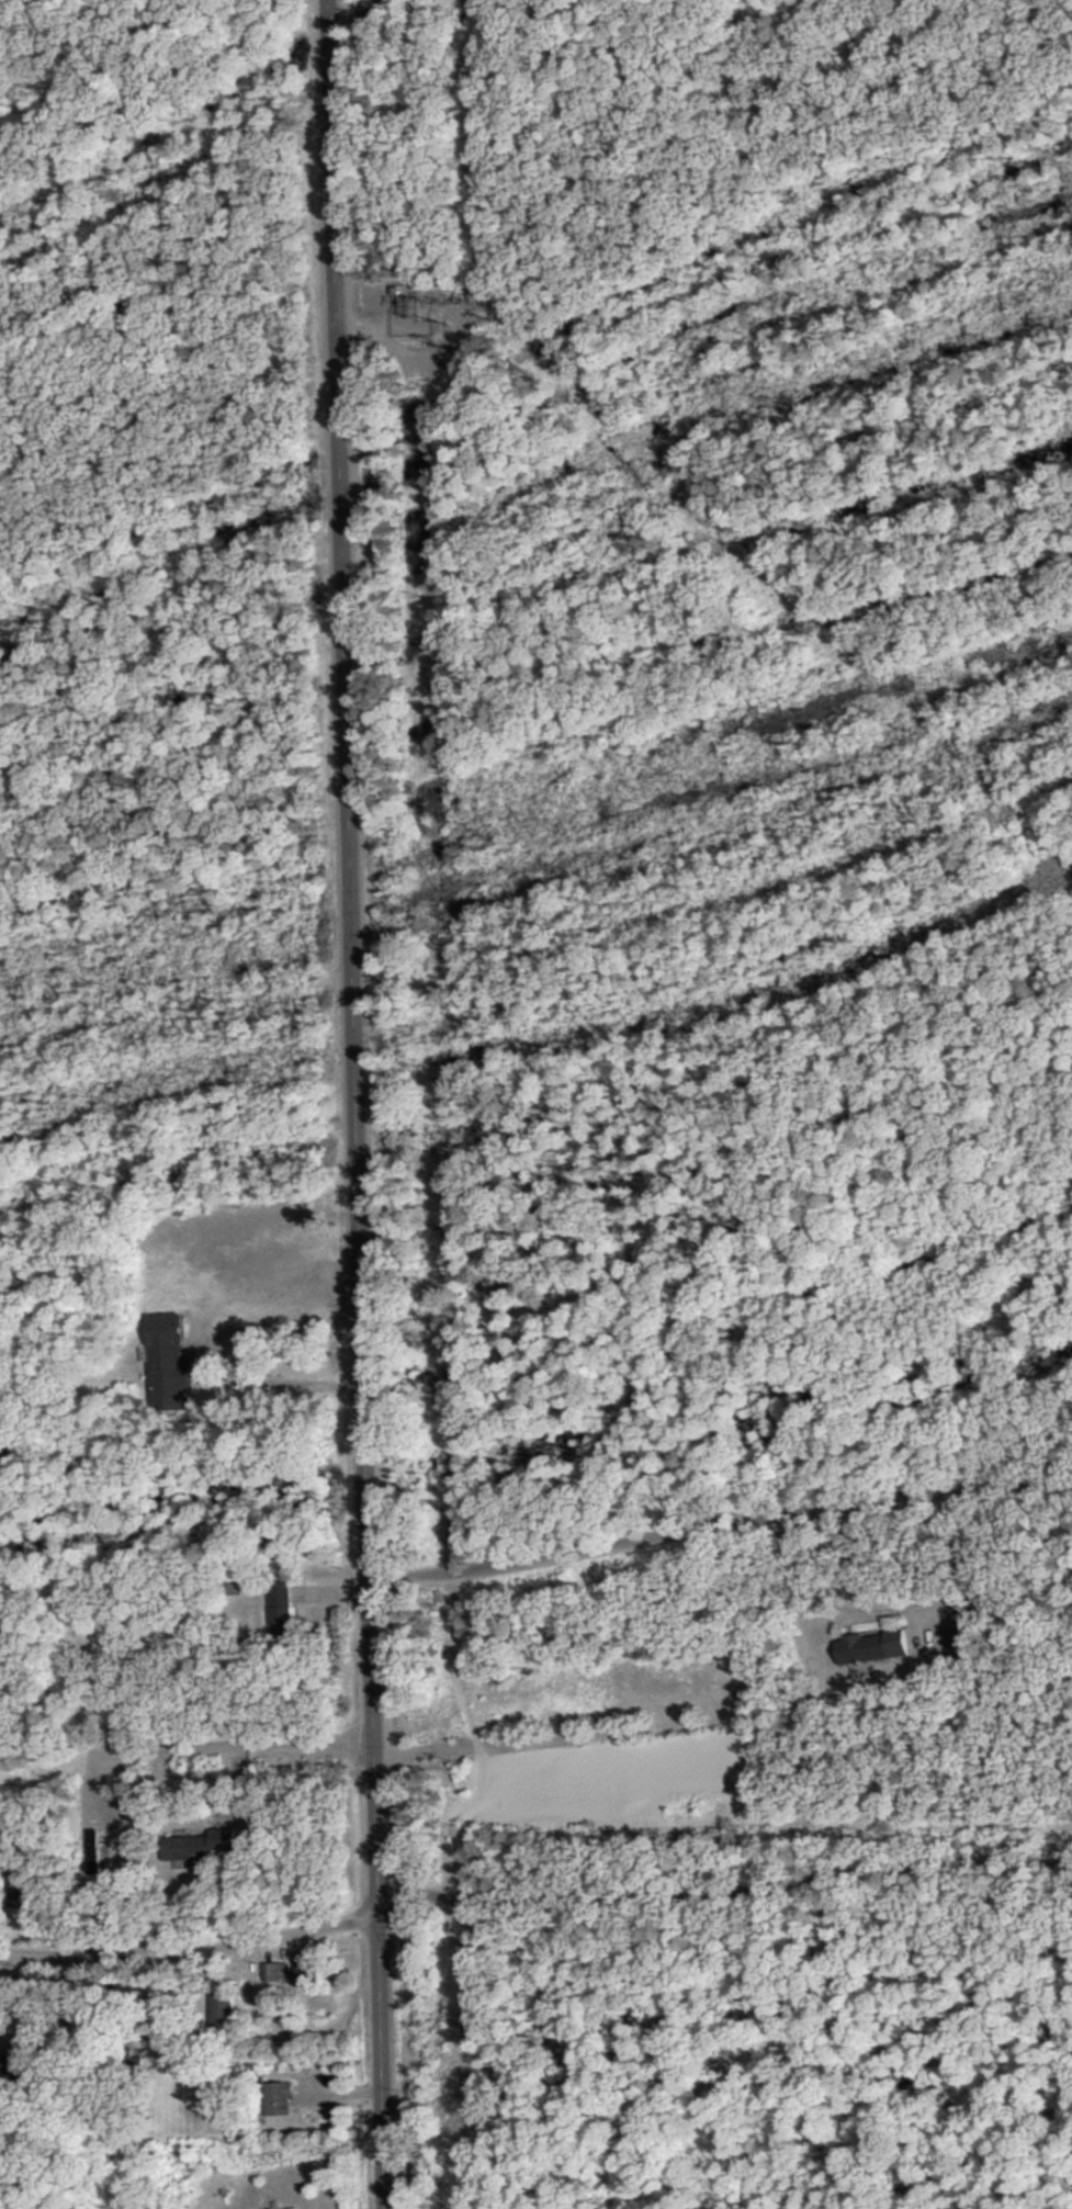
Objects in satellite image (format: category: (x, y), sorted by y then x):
power substation: (427, 305)
road: (357, 1104)
road: (160, 1214)
building: (168, 1362)
road: (720, 1526)
building: (282, 1609)
building: (959, 1635)
building: (873, 1647)
road: (188, 1704)
building: (203, 1847)
road: (725, 1894)
road: (192, 1935)
building: (309, 1971)
building: (277, 1974)
building: (283, 2094)

